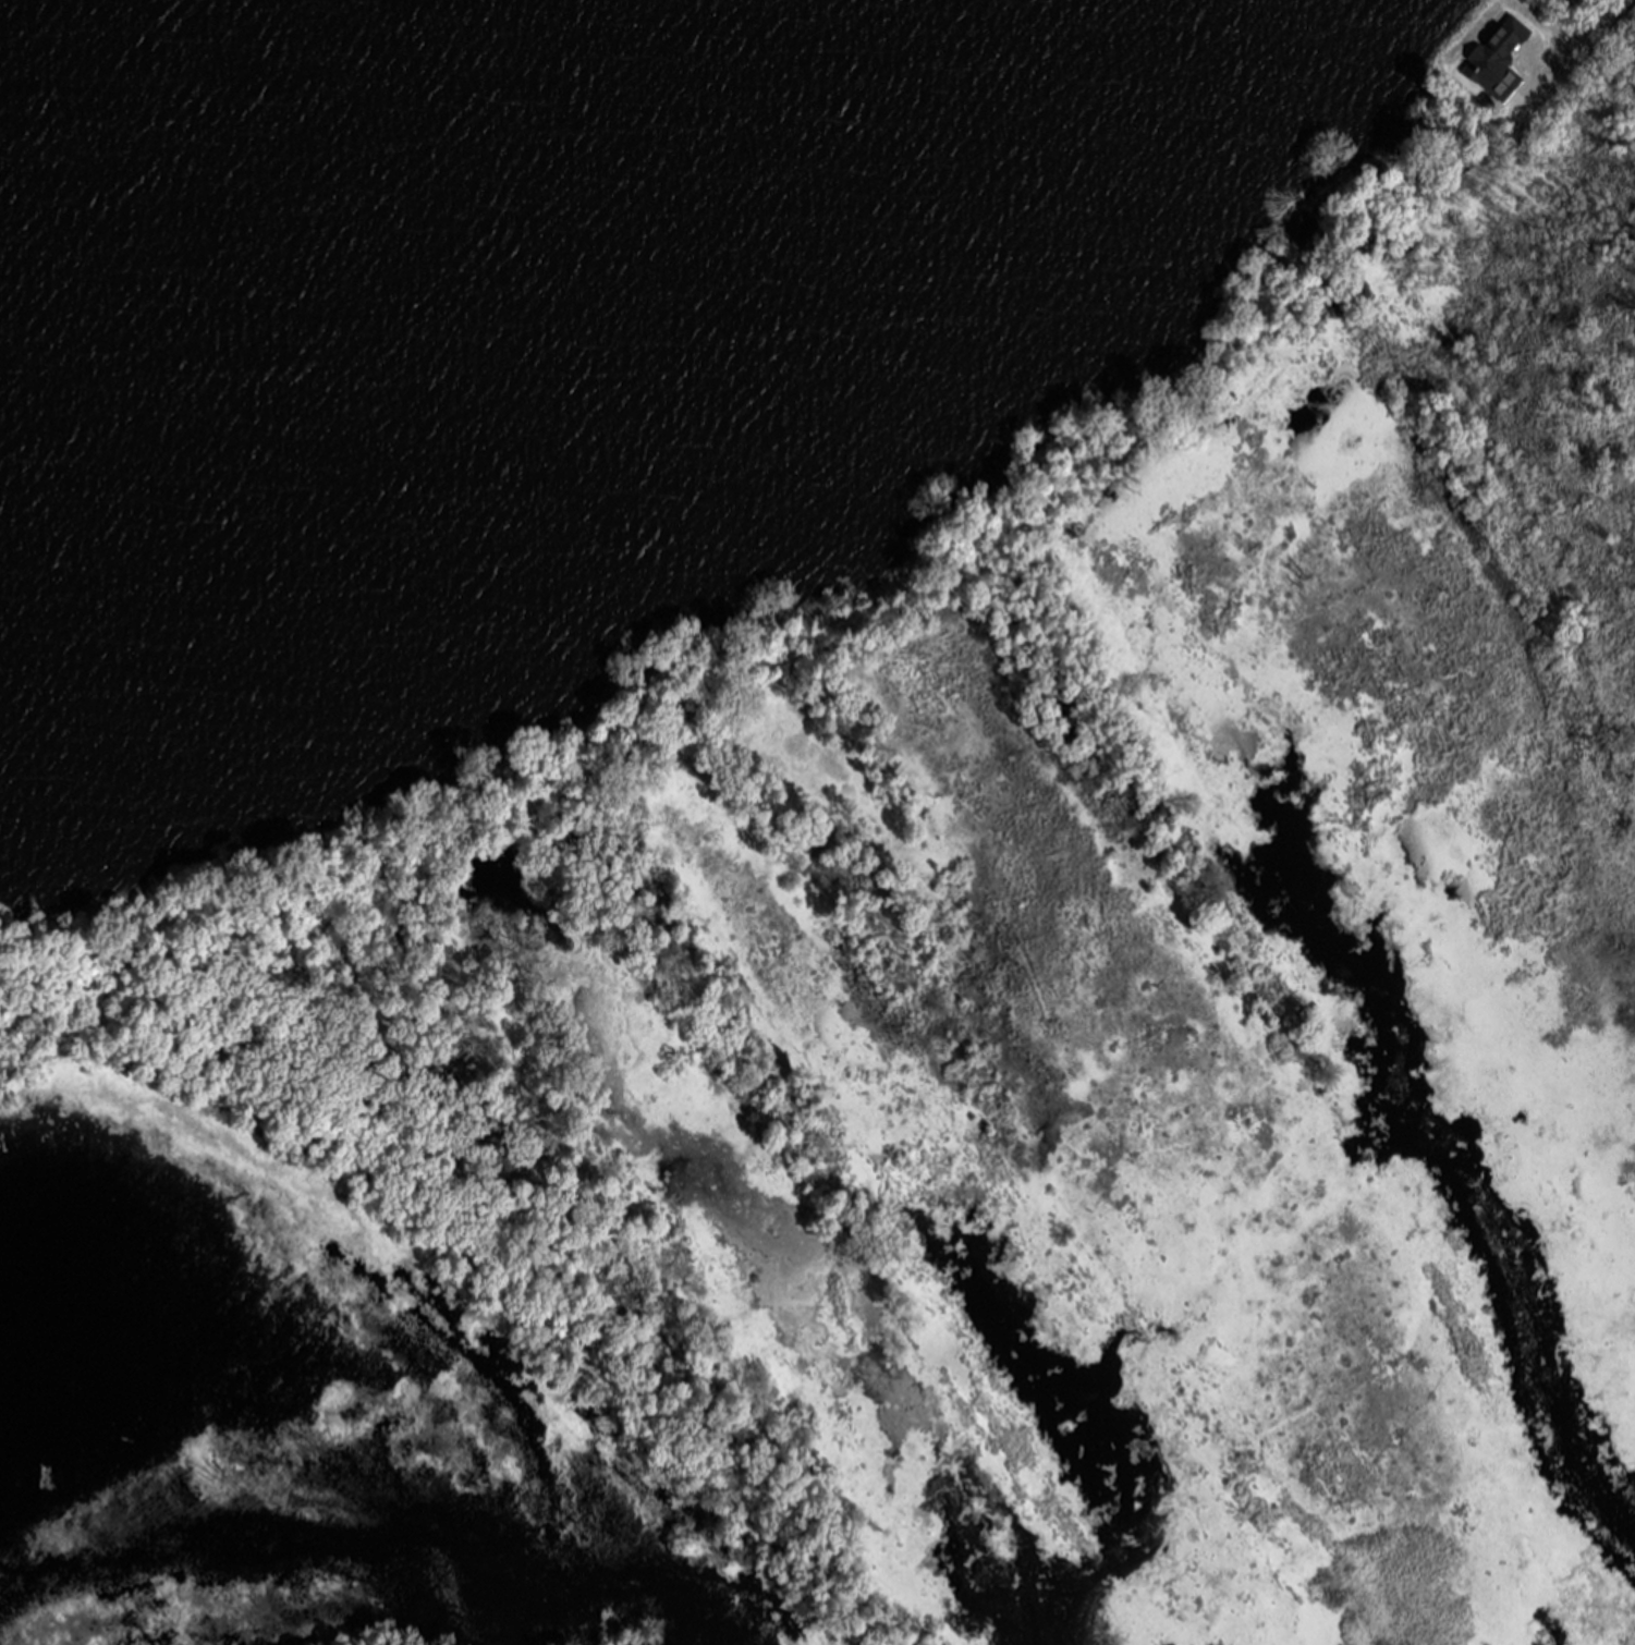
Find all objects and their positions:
building: (1562, 3)
road: (1595, 35)
building: (1499, 62)

